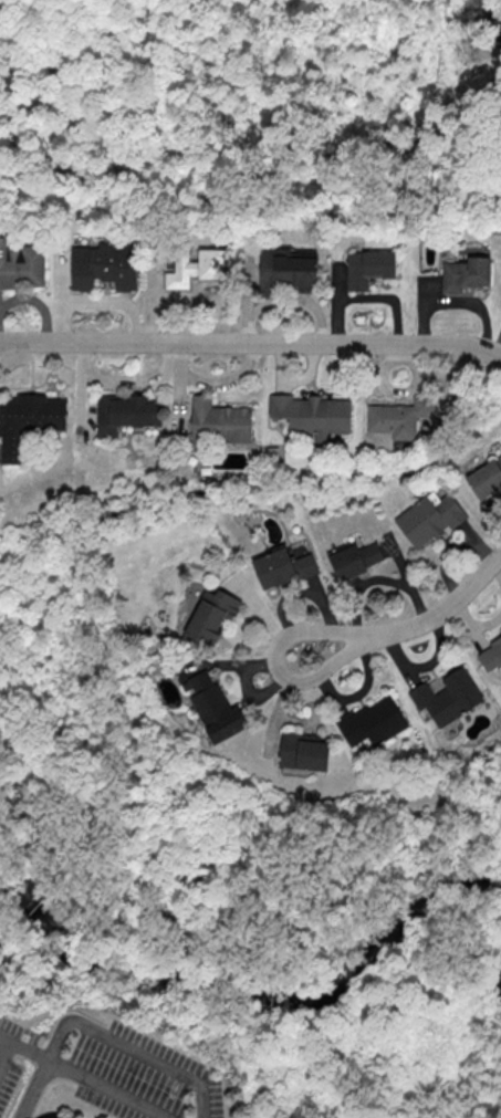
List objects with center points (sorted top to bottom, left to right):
road: (263, 168)
building: (21, 267)
building: (105, 267)
building: (197, 267)
building: (290, 268)
building: (369, 269)
building: (467, 275)
road: (251, 344)
building: (128, 412)
building: (315, 415)
building: (400, 418)
building: (28, 421)
building: (220, 422)
building: (487, 480)
building: (431, 520)
building: (357, 558)
building: (284, 568)
road: (439, 610)
building: (211, 616)
building: (491, 657)
road: (278, 664)
building: (450, 698)
building: (215, 708)
building: (374, 721)
building: (306, 751)
river: (247, 999)
road: (20, 1047)
road: (81, 1077)

